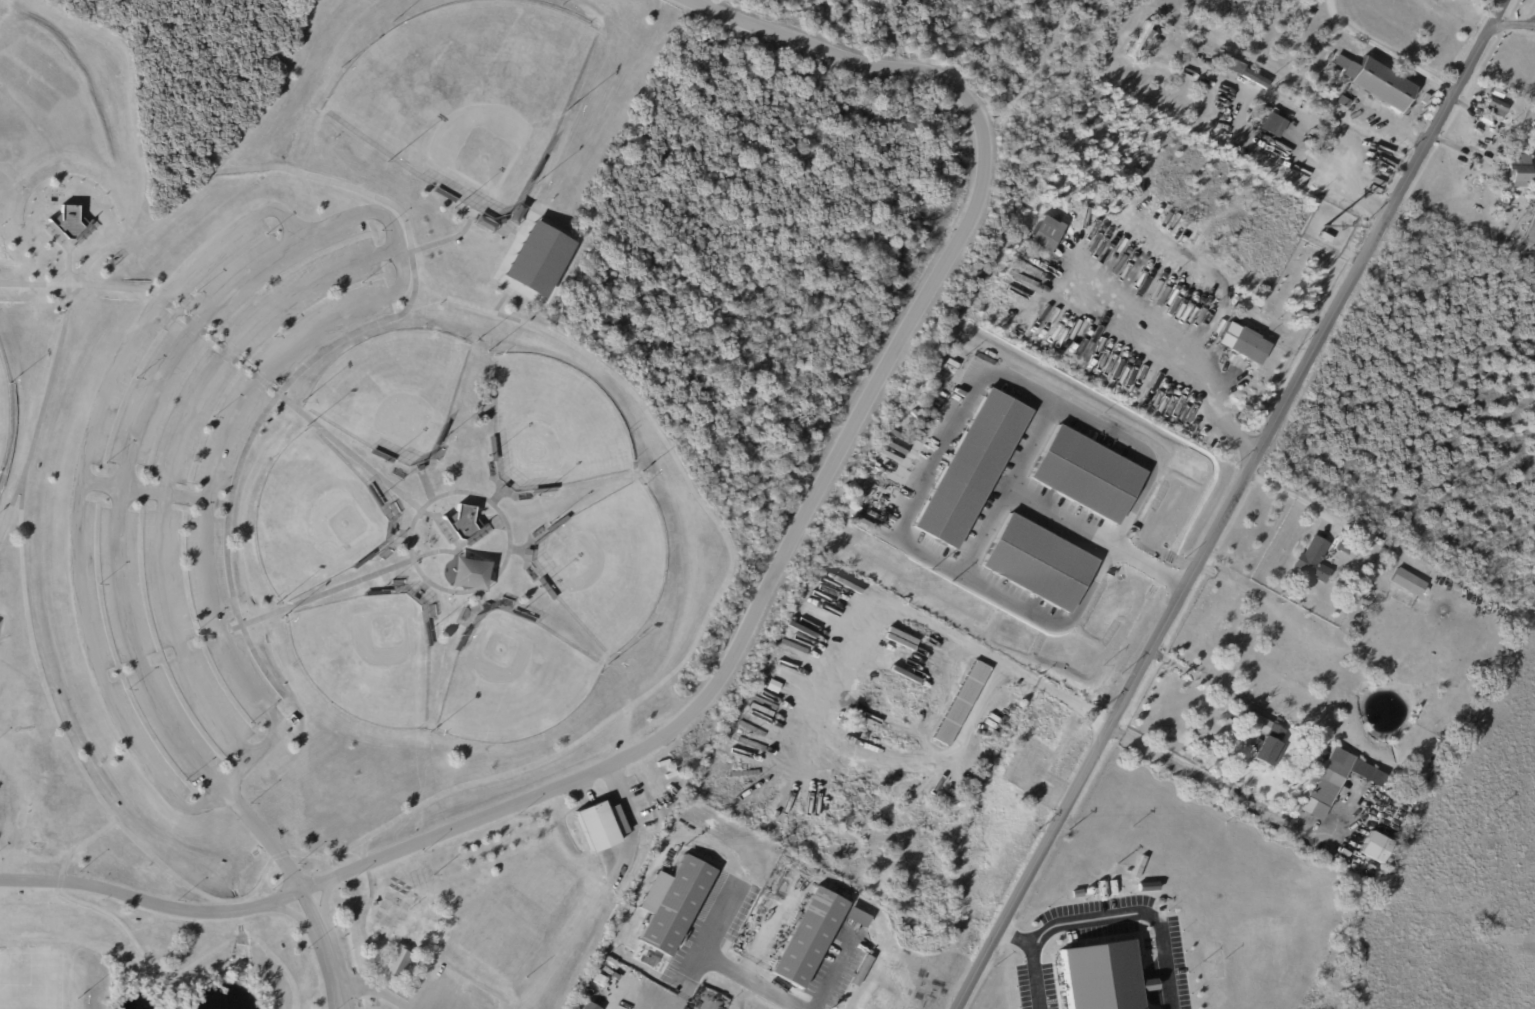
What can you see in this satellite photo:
building: (1285, 1)
building: (1308, 13)
road: (1512, 24)
building: (1139, 38)
road: (1386, 51)
building: (1233, 66)
building: (1335, 73)
building: (1377, 82)
building: (1498, 93)
road: (132, 96)
park: (465, 97)
building: (1496, 108)
building: (1361, 114)
building: (1271, 125)
building: (1516, 144)
road: (1257, 146)
road: (224, 163)
building: (536, 170)
building: (1520, 170)
building: (1375, 190)
road: (360, 193)
building: (444, 197)
building: (70, 224)
building: (1044, 234)
building: (1325, 238)
road: (448, 241)
building: (538, 259)
park: (534, 260)
road: (430, 287)
road: (79, 290)
road: (1052, 299)
road: (502, 302)
building: (1242, 344)
road: (227, 352)
building: (939, 361)
road: (47, 392)
park: (393, 393)
road: (964, 403)
park: (3, 418)
park: (554, 427)
building: (441, 435)
park: (432, 446)
road: (1033, 447)
building: (492, 449)
building: (381, 458)
road: (174, 459)
building: (970, 468)
building: (1086, 474)
parking lot: (202, 477)
building: (543, 491)
road: (122, 493)
building: (373, 497)
road: (1296, 498)
road: (1235, 507)
park: (313, 519)
building: (461, 523)
building: (556, 524)
building: (1344, 548)
building: (362, 561)
building: (1314, 561)
building: (1038, 563)
park: (605, 566)
road: (496, 575)
building: (1403, 580)
road: (360, 581)
building: (545, 590)
building: (377, 594)
road: (759, 603)
building: (521, 617)
road: (926, 623)
building: (426, 635)
building: (461, 641)
park: (365, 658)
road: (685, 660)
park: (512, 681)
road: (1220, 689)
building: (962, 704)
building: (731, 738)
building: (1265, 740)
building: (1310, 753)
building: (1329, 777)
road: (224, 784)
road: (1245, 804)
road: (630, 813)
building: (594, 829)
building: (1374, 849)
road: (356, 854)
road: (299, 888)
building: (677, 906)
building: (855, 919)
building: (968, 920)
road: (1102, 920)
road: (363, 924)
building: (807, 940)
road: (1020, 942)
building: (650, 957)
road: (145, 960)
road: (719, 963)
building: (396, 964)
road: (832, 971)
road: (447, 973)
building: (1103, 978)
road: (172, 981)
road: (691, 981)
park: (30, 989)
road: (374, 992)
road: (411, 992)
building: (588, 1007)

